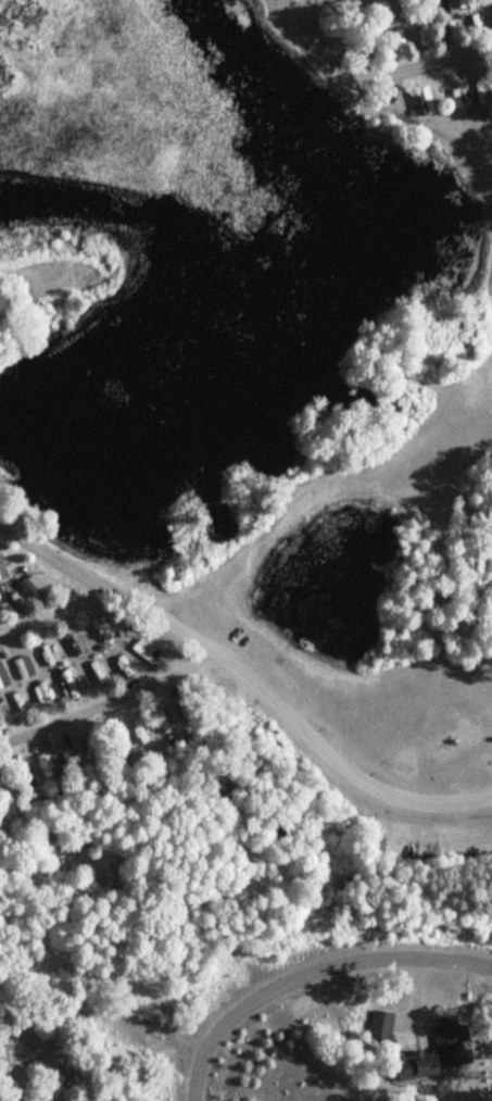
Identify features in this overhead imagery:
road: (295, 1)
building: (405, 9)
building: (422, 35)
road: (374, 74)
building: (461, 95)
building: (425, 100)
park: (466, 401)
building: (2, 566)
building: (36, 587)
building: (102, 631)
building: (146, 650)
building: (46, 656)
building: (24, 667)
building: (127, 668)
building: (97, 673)
road: (251, 675)
building: (3, 677)
building: (71, 681)
park: (407, 733)
building: (45, 768)
road: (306, 971)
building: (383, 1024)
building: (445, 1049)

